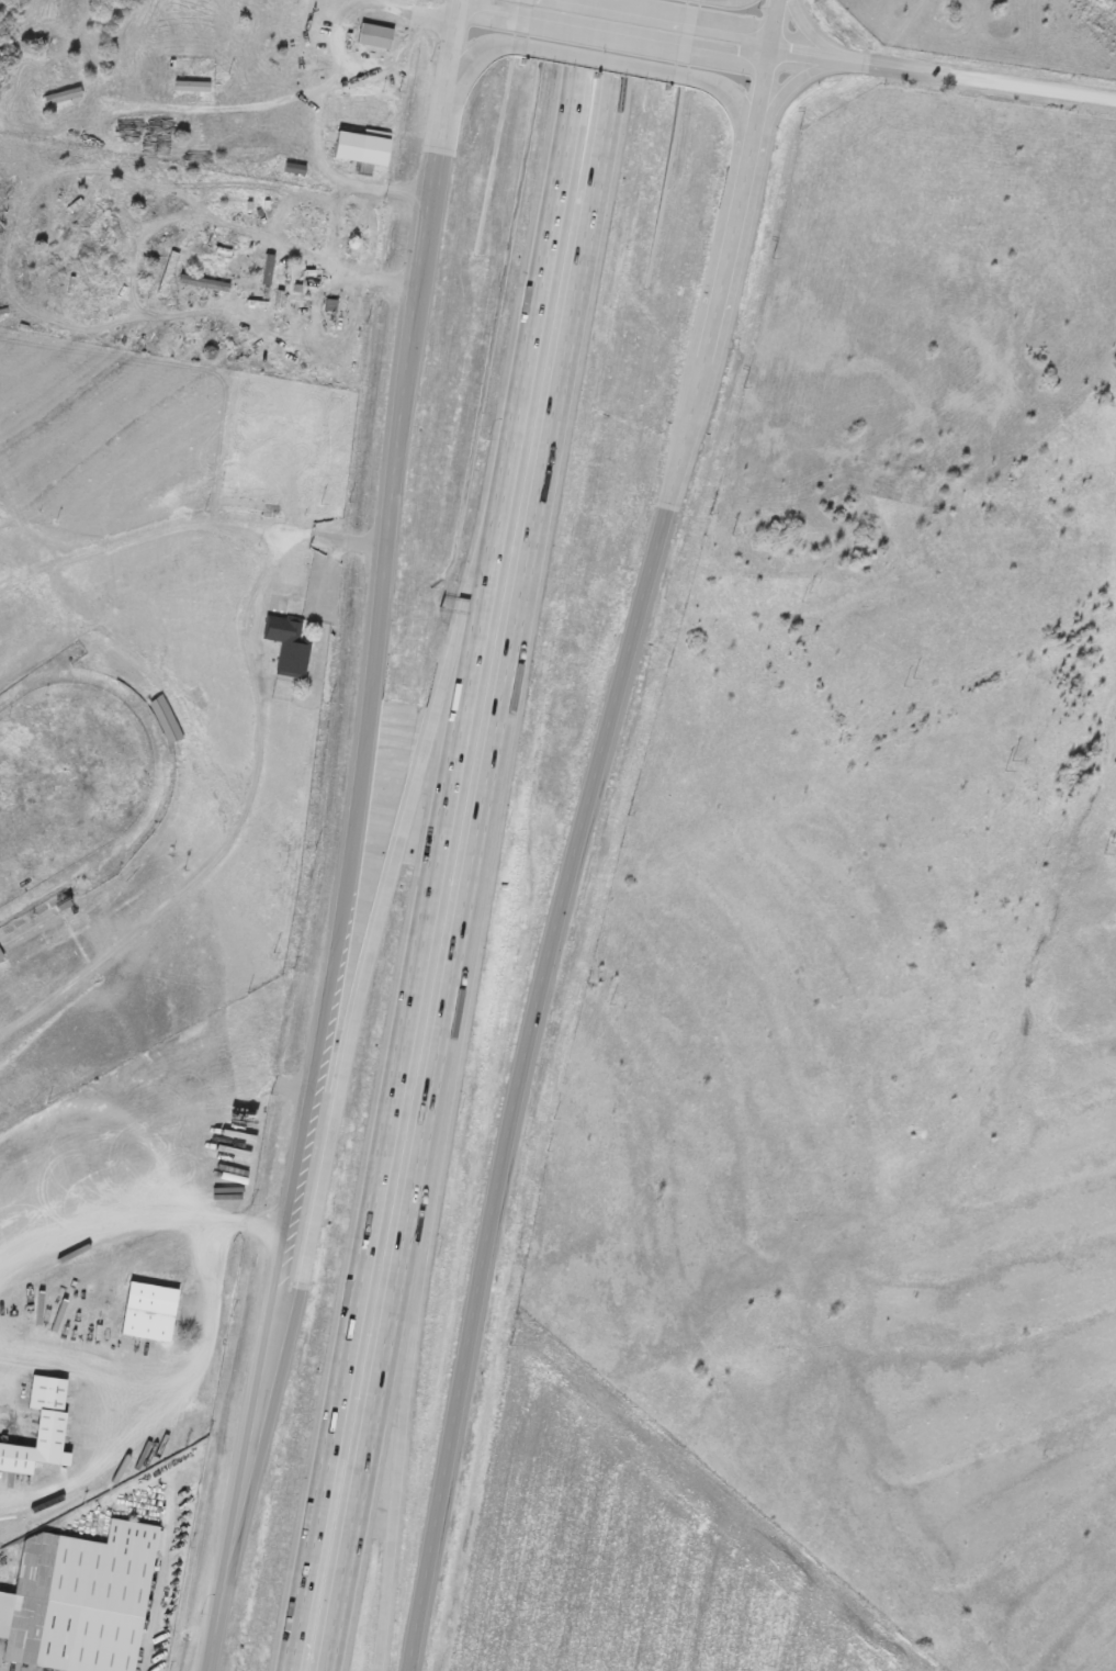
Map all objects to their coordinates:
road: (519, 0)
road: (621, 20)
building: (376, 34)
road: (744, 43)
road: (471, 57)
road: (597, 59)
road: (943, 71)
building: (193, 85)
building: (64, 94)
road: (732, 99)
building: (365, 146)
building: (251, 503)
road: (534, 564)
building: (289, 643)
building: (165, 717)
road: (579, 831)
road: (449, 835)
road: (352, 838)
building: (1, 954)
road: (345, 1088)
building: (150, 1310)
road: (379, 1400)
road: (409, 1400)
building: (41, 1427)
building: (4, 1561)
building: (81, 1599)

